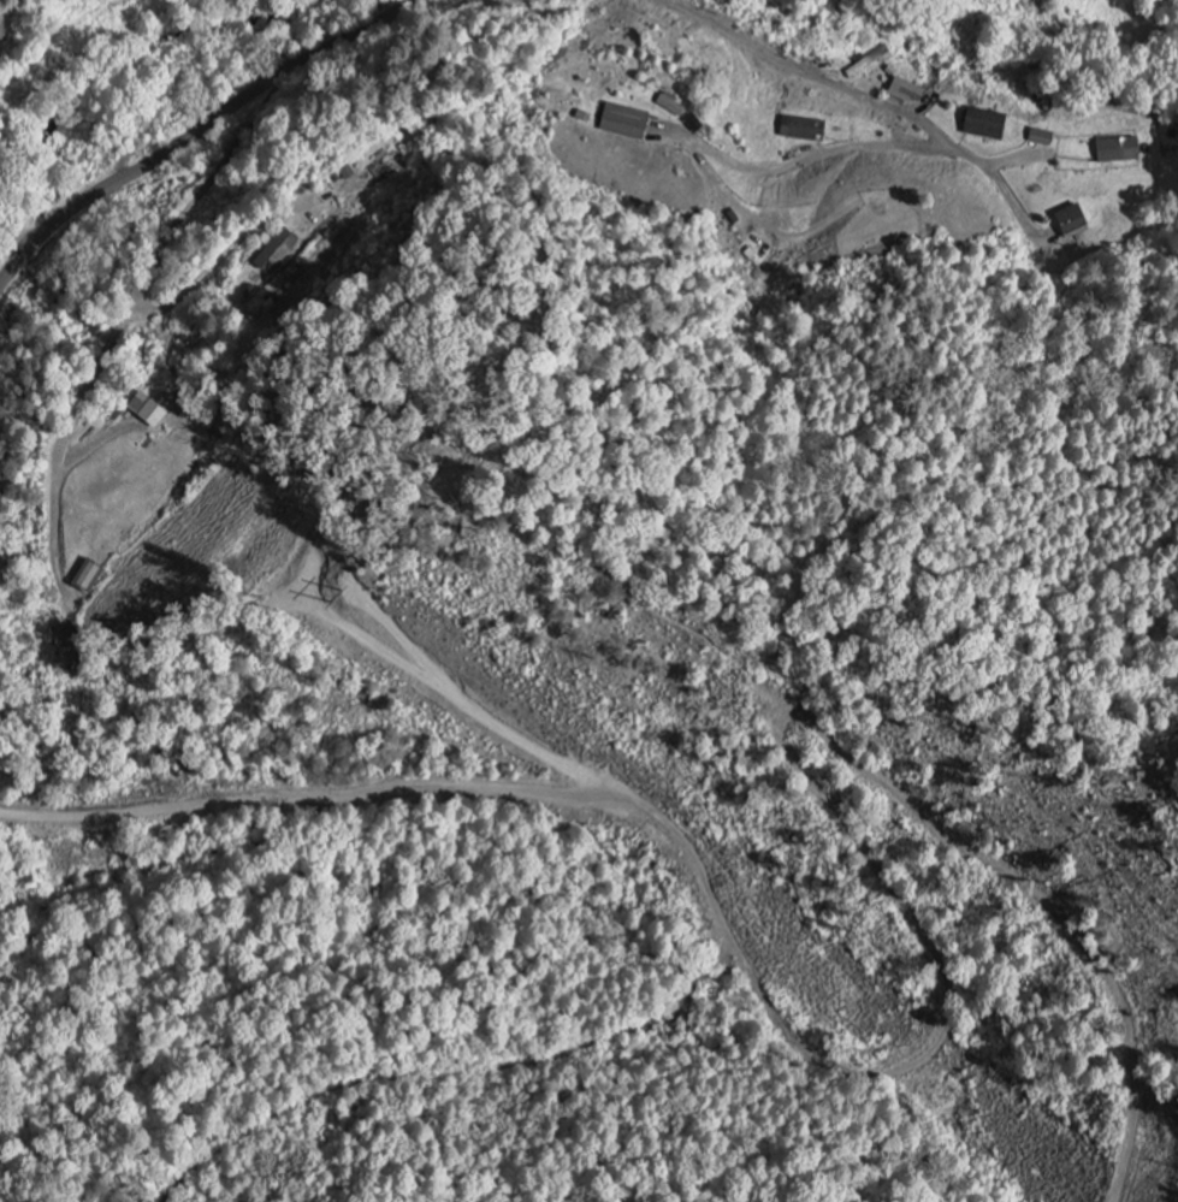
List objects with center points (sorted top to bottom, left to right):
building: (1037, 0)
building: (905, 93)
road: (877, 97)
building: (622, 123)
building: (982, 125)
building: (799, 130)
road: (189, 137)
building: (1038, 140)
building: (1115, 152)
building: (1070, 224)
road: (13, 245)
road: (155, 262)
building: (144, 410)
building: (88, 576)

